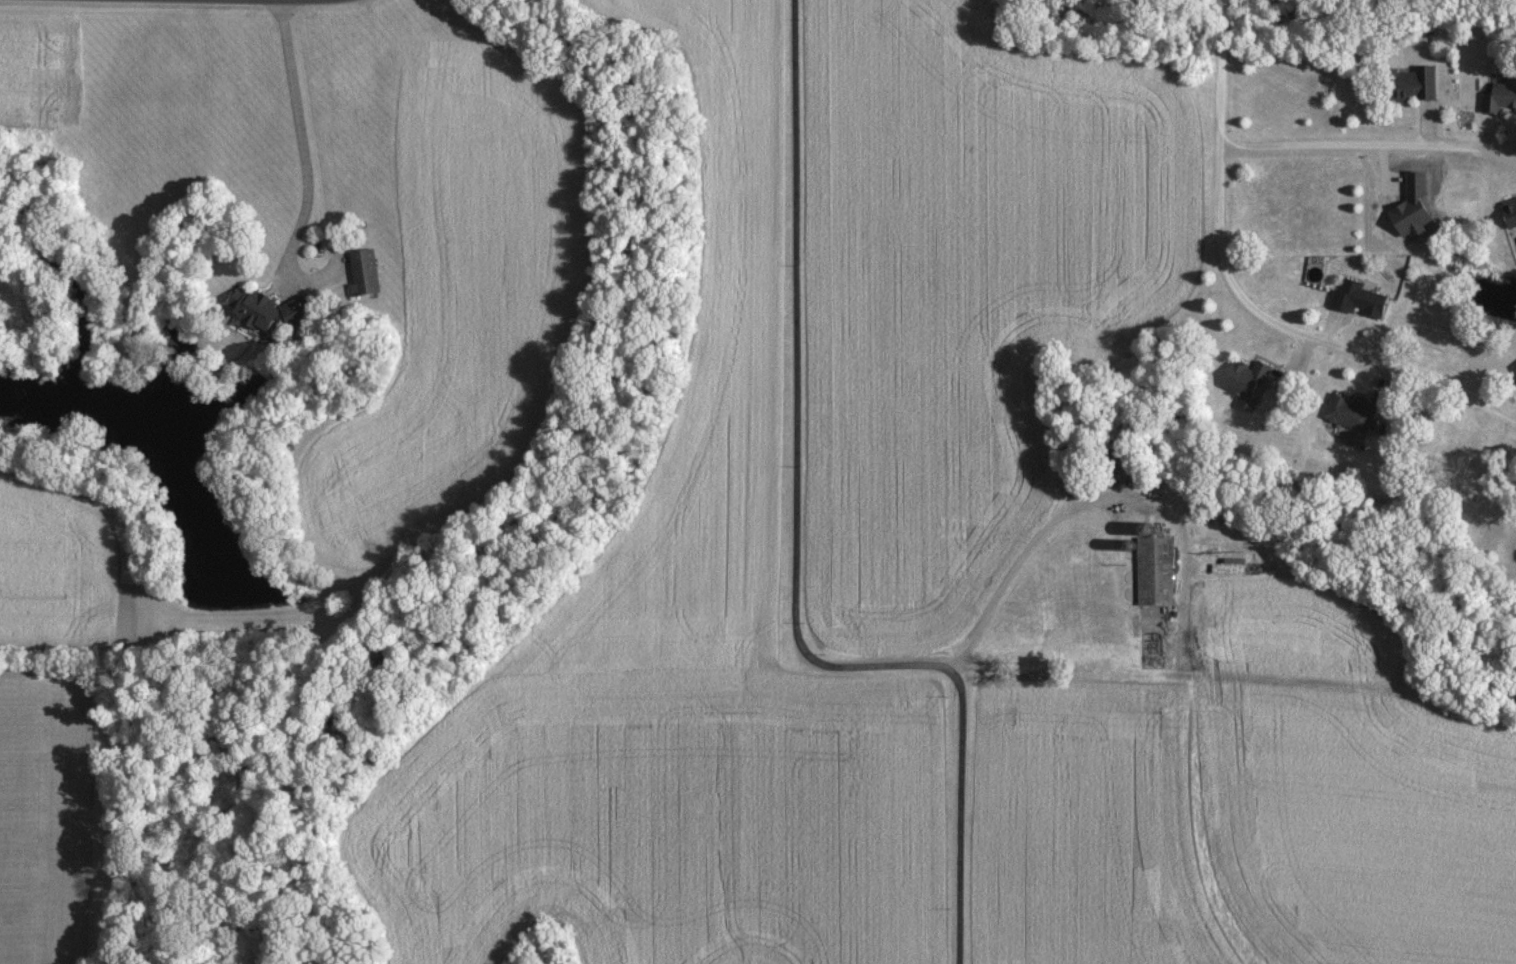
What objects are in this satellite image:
road: (290, 0)
building: (1500, 96)
road: (1367, 144)
road: (304, 166)
building: (1412, 203)
building: (1510, 212)
building: (364, 271)
road: (1239, 298)
building: (1358, 299)
building: (267, 308)
building: (1249, 382)
building: (1350, 412)
road: (797, 550)
building: (1161, 561)
road: (1015, 565)

